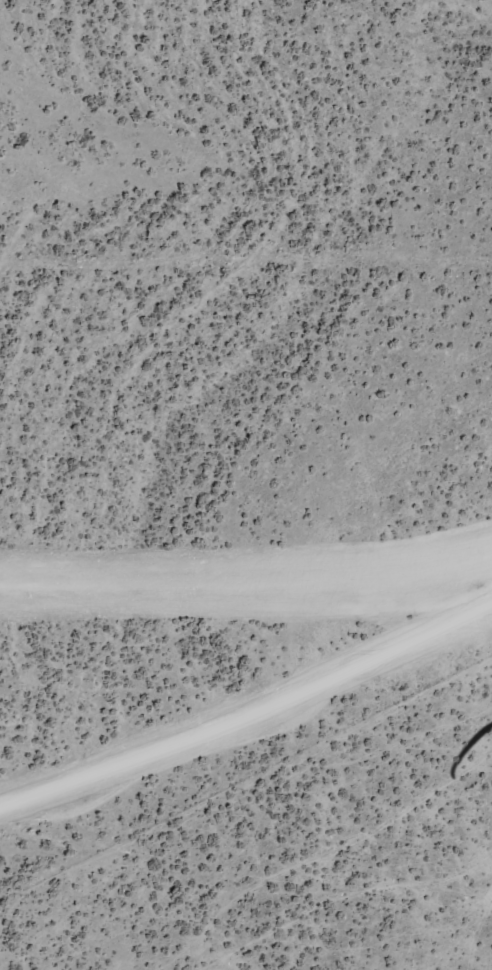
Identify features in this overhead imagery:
road: (129, 885)

